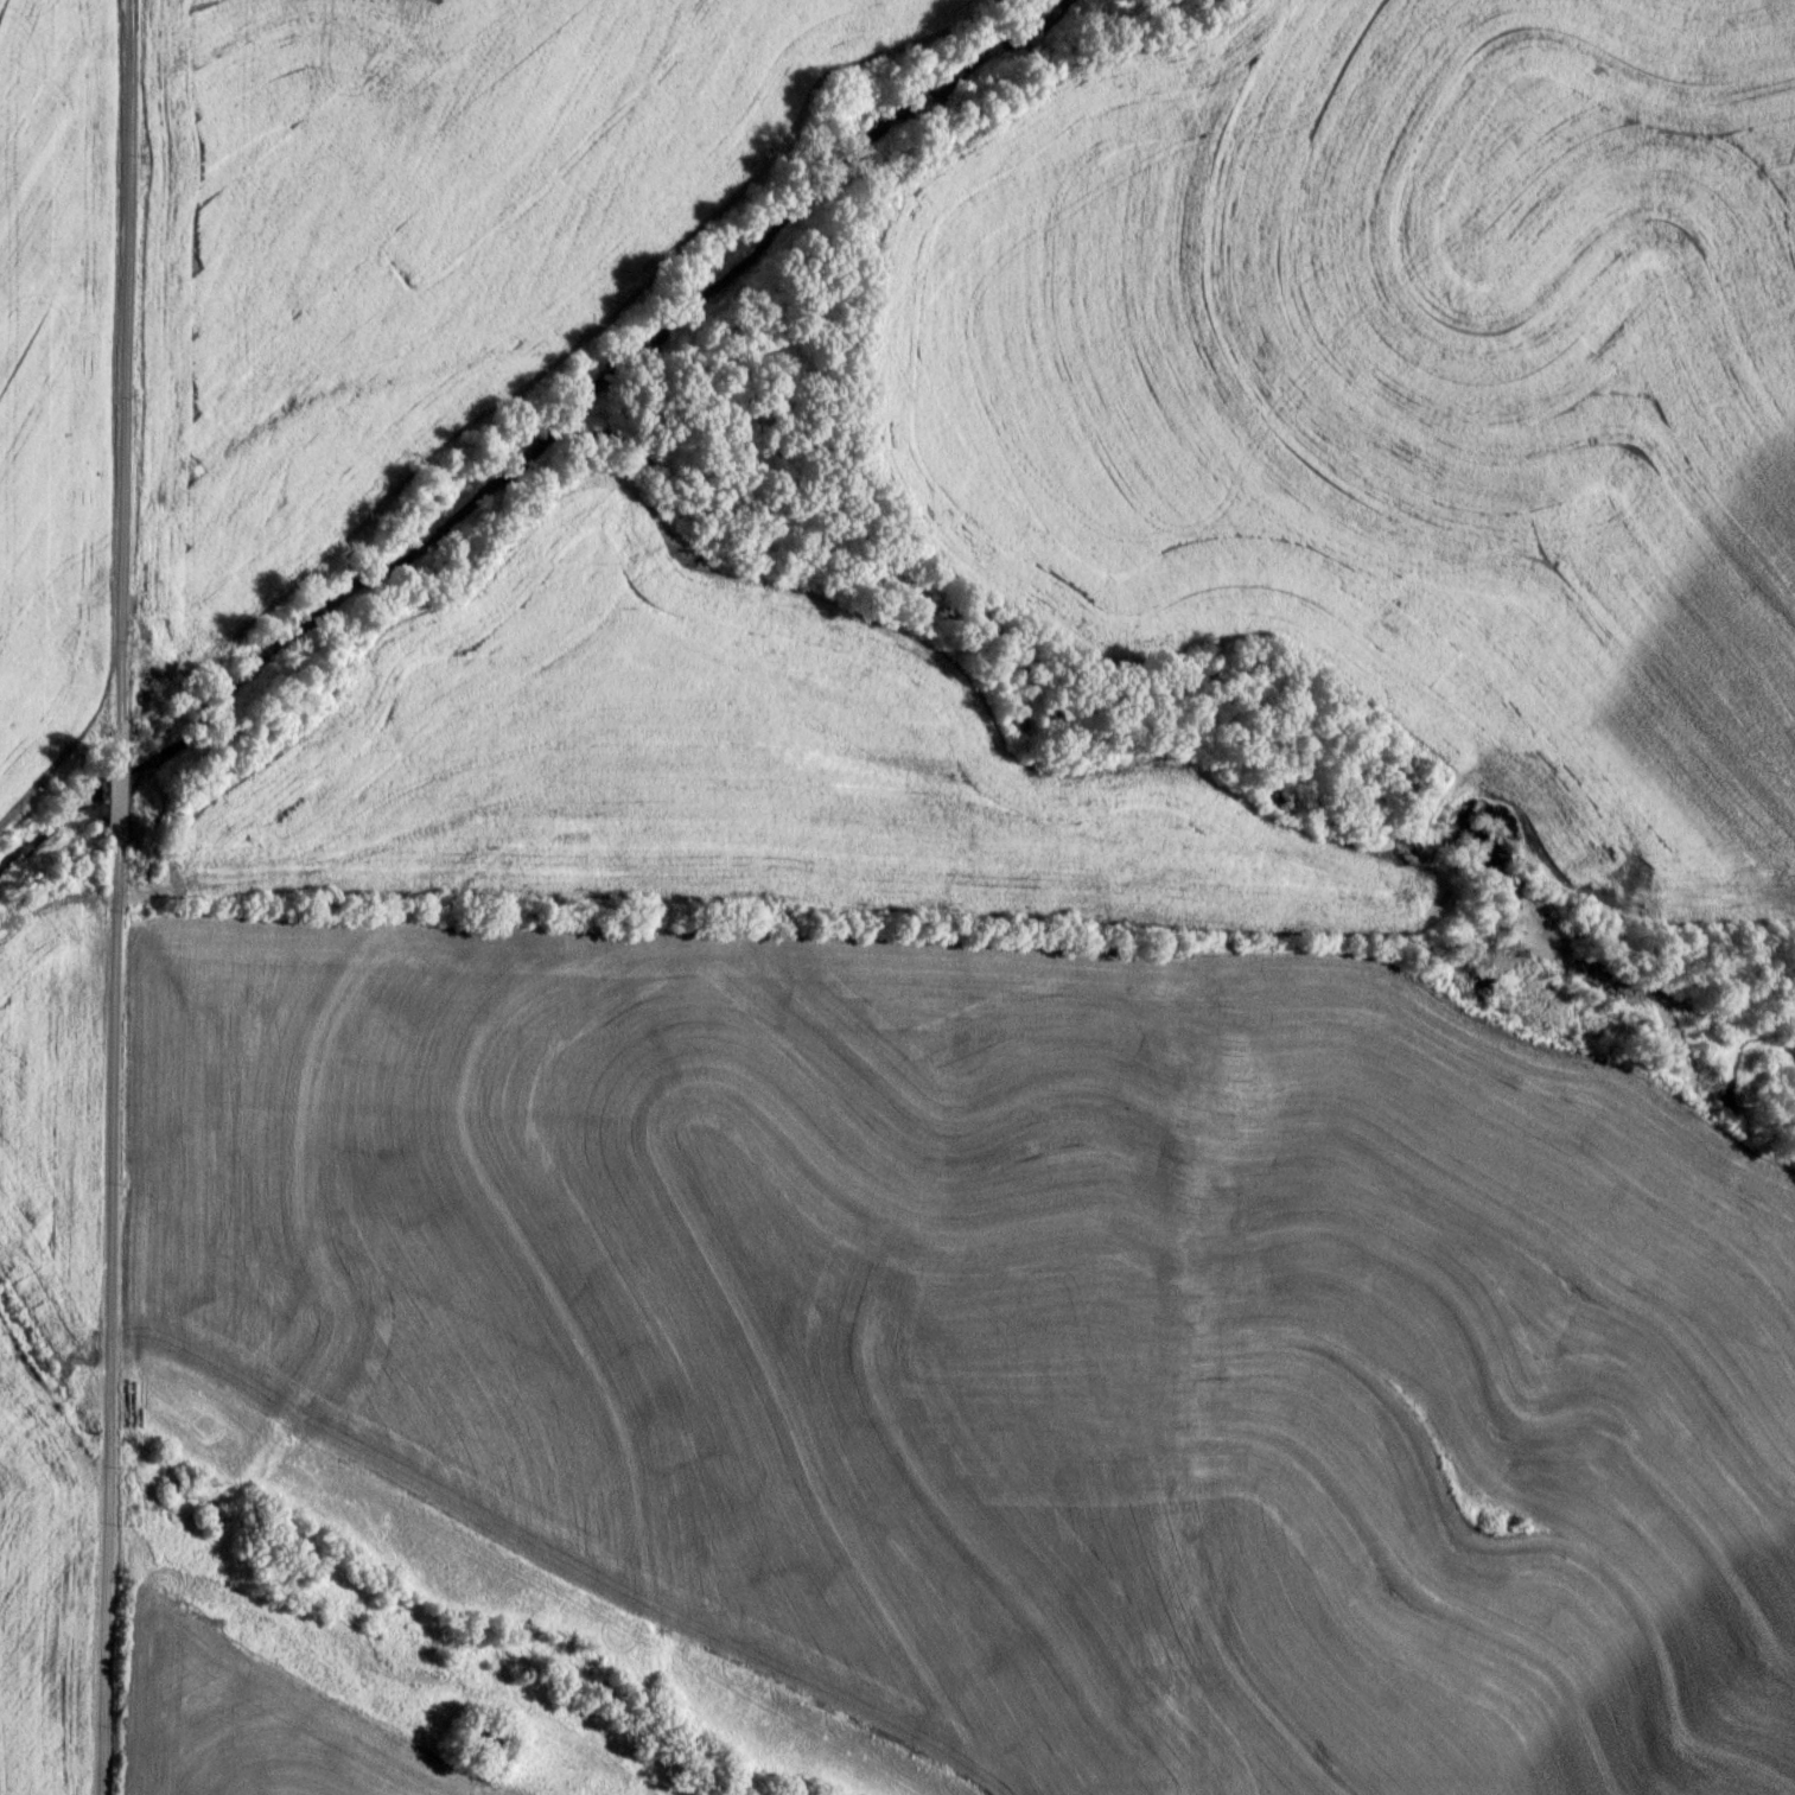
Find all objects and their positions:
road: (121, 897)

